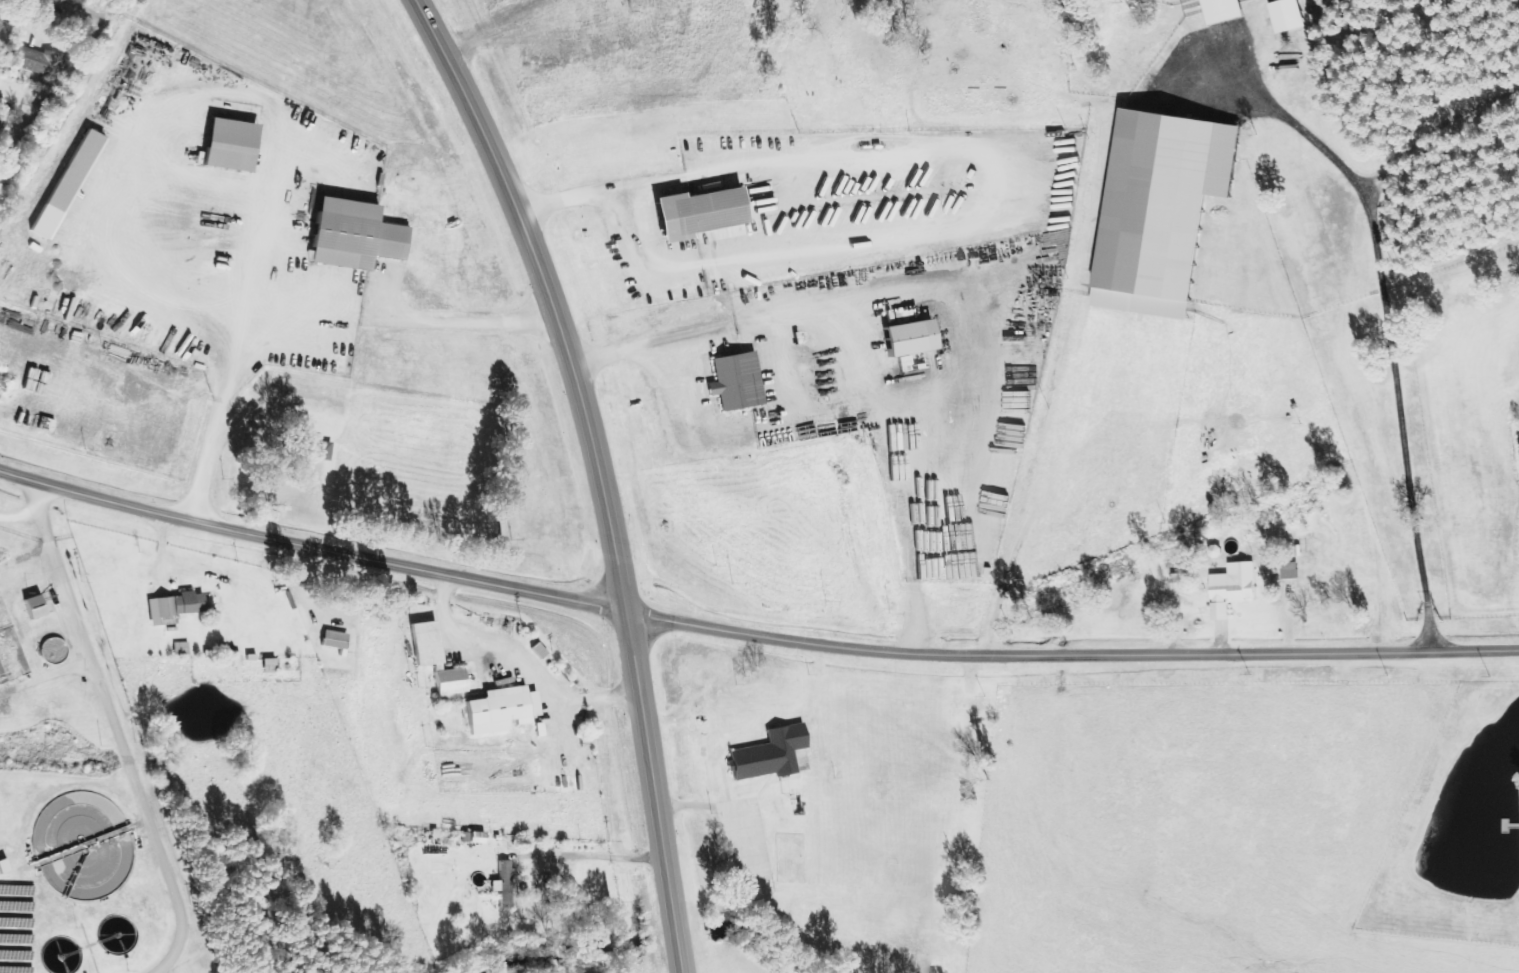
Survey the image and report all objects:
road: (77, 10)
building: (1224, 10)
building: (1289, 15)
building: (38, 61)
building: (231, 145)
building: (68, 184)
building: (699, 213)
building: (1157, 214)
road: (961, 230)
building: (355, 236)
building: (911, 338)
building: (738, 382)
building: (314, 449)
road: (600, 473)
building: (1182, 581)
building: (1234, 589)
building: (182, 605)
building: (35, 608)
road: (751, 634)
building: (427, 645)
building: (182, 648)
building: (451, 686)
building: (505, 707)
building: (771, 754)
building: (505, 883)
building: (957, 904)

